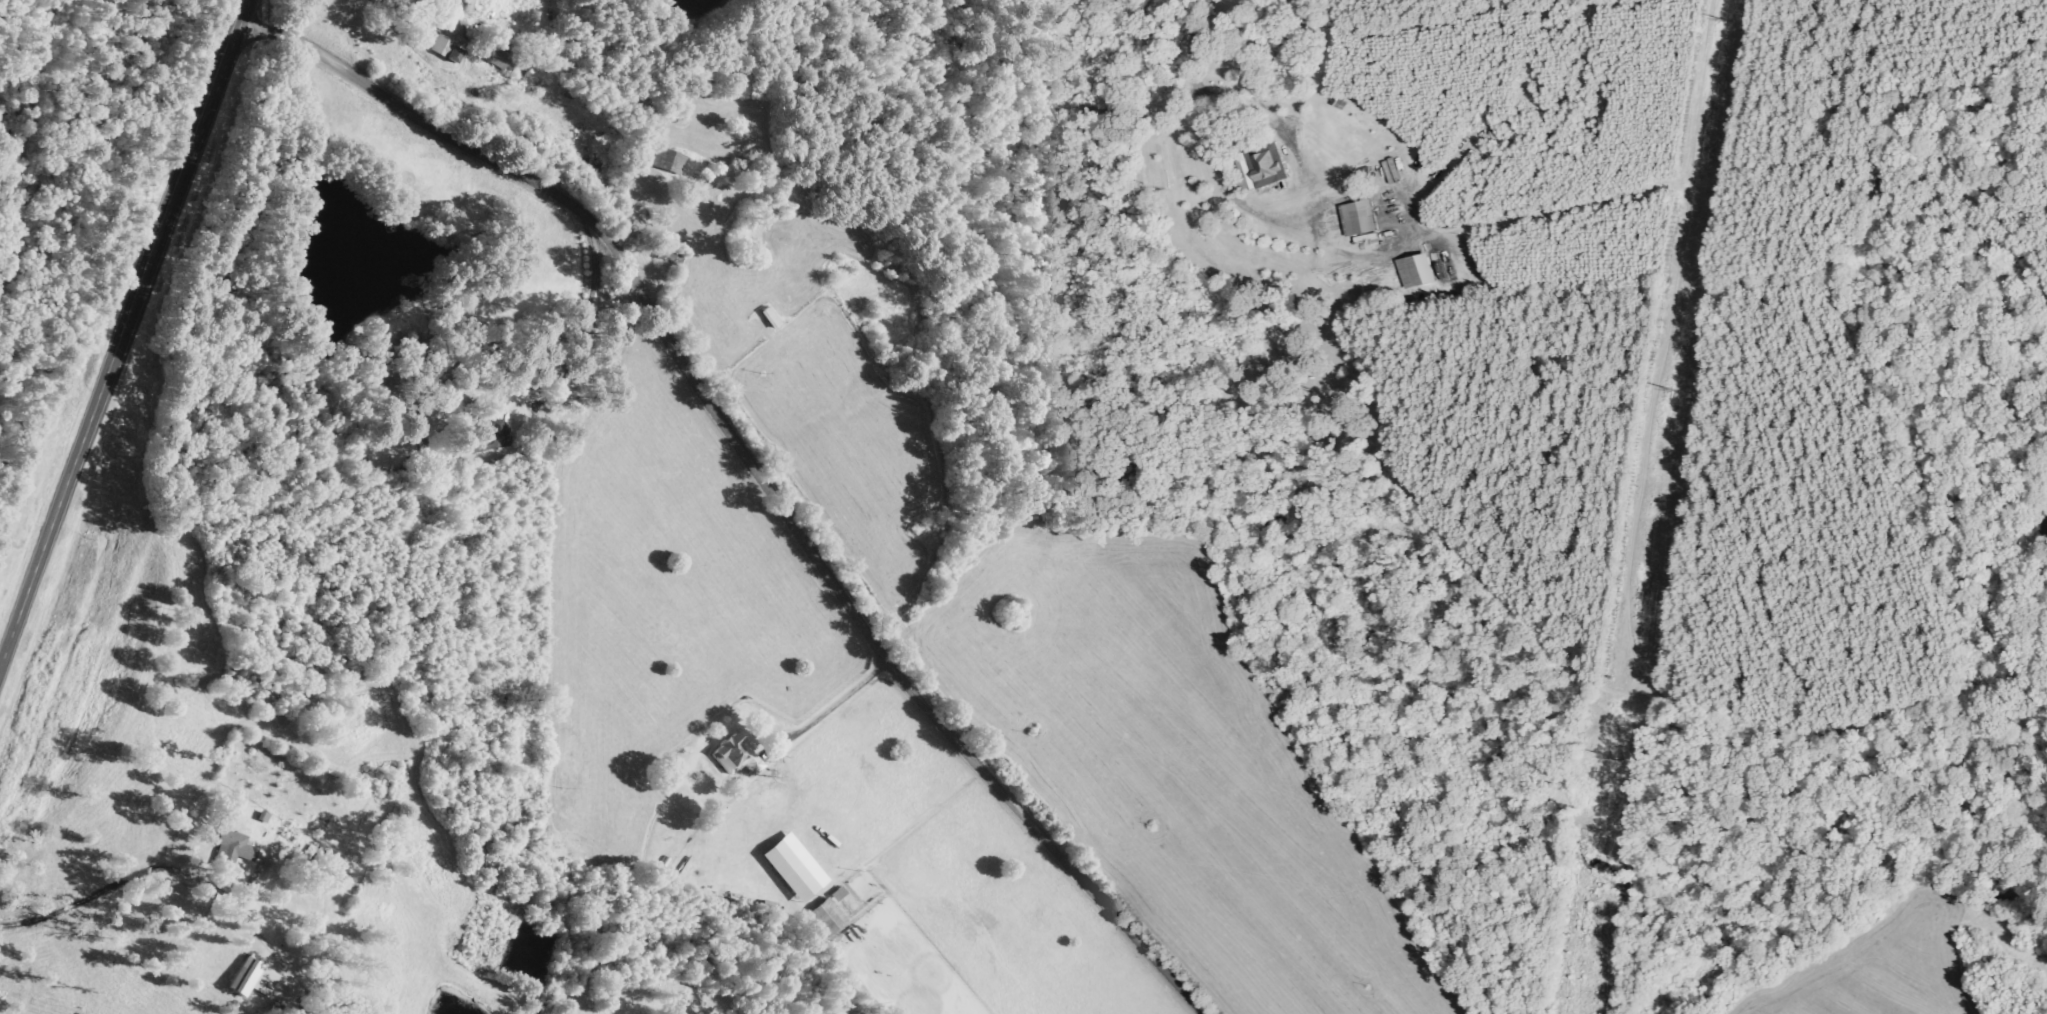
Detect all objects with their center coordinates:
road: (877, 0)
building: (451, 41)
building: (502, 55)
road: (1179, 114)
building: (669, 161)
building: (1262, 170)
building: (1360, 218)
road: (483, 228)
building: (1416, 271)
road: (127, 346)
building: (495, 437)
road: (661, 440)
road: (734, 454)
building: (739, 757)
building: (236, 847)
building: (792, 872)
building: (840, 894)
road: (179, 898)
building: (827, 918)
building: (255, 979)

